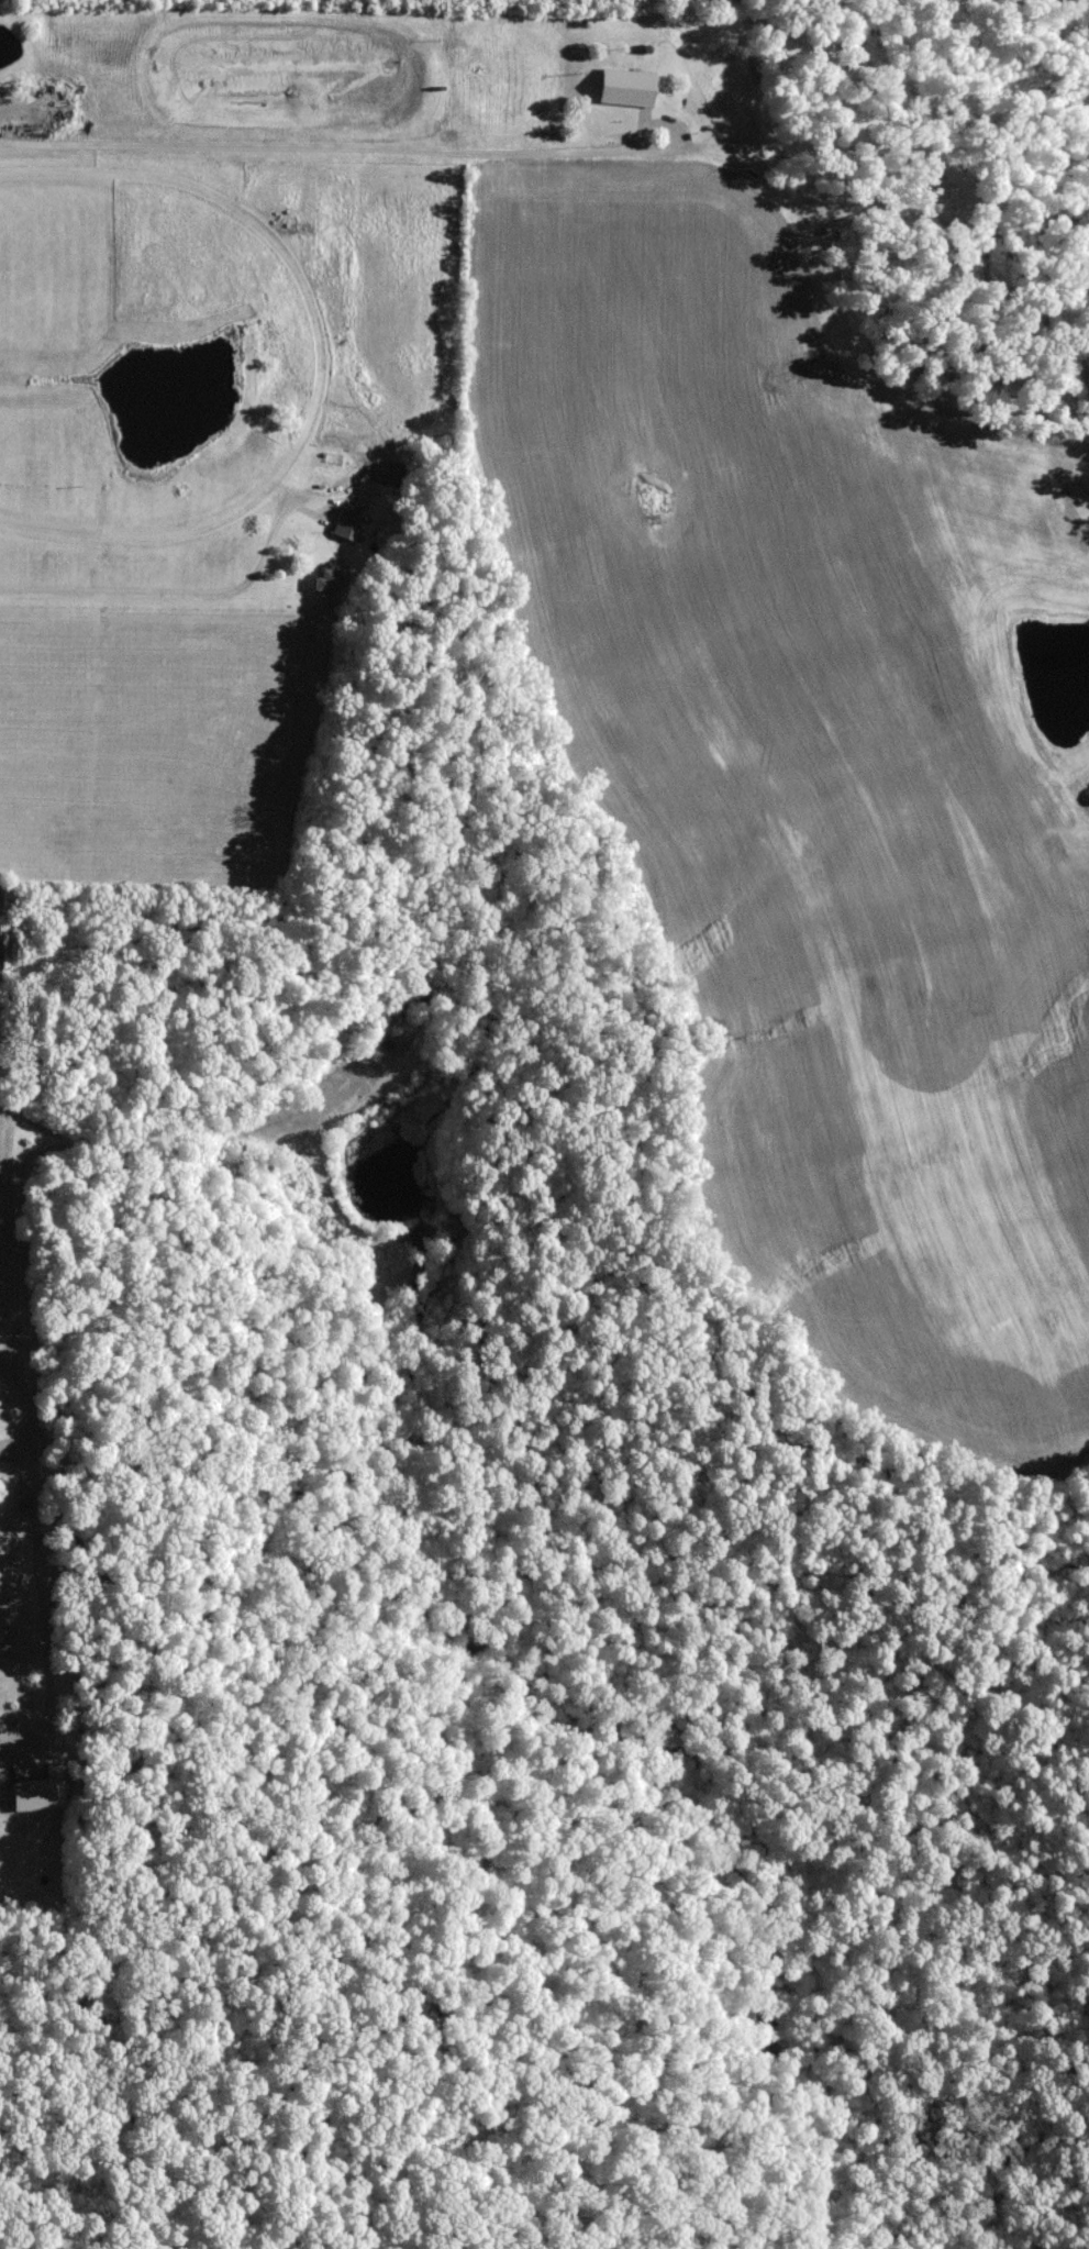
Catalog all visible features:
building: (636, 106)
road: (649, 128)
road: (420, 156)
building: (349, 525)
building: (329, 588)
road: (34, 1555)

